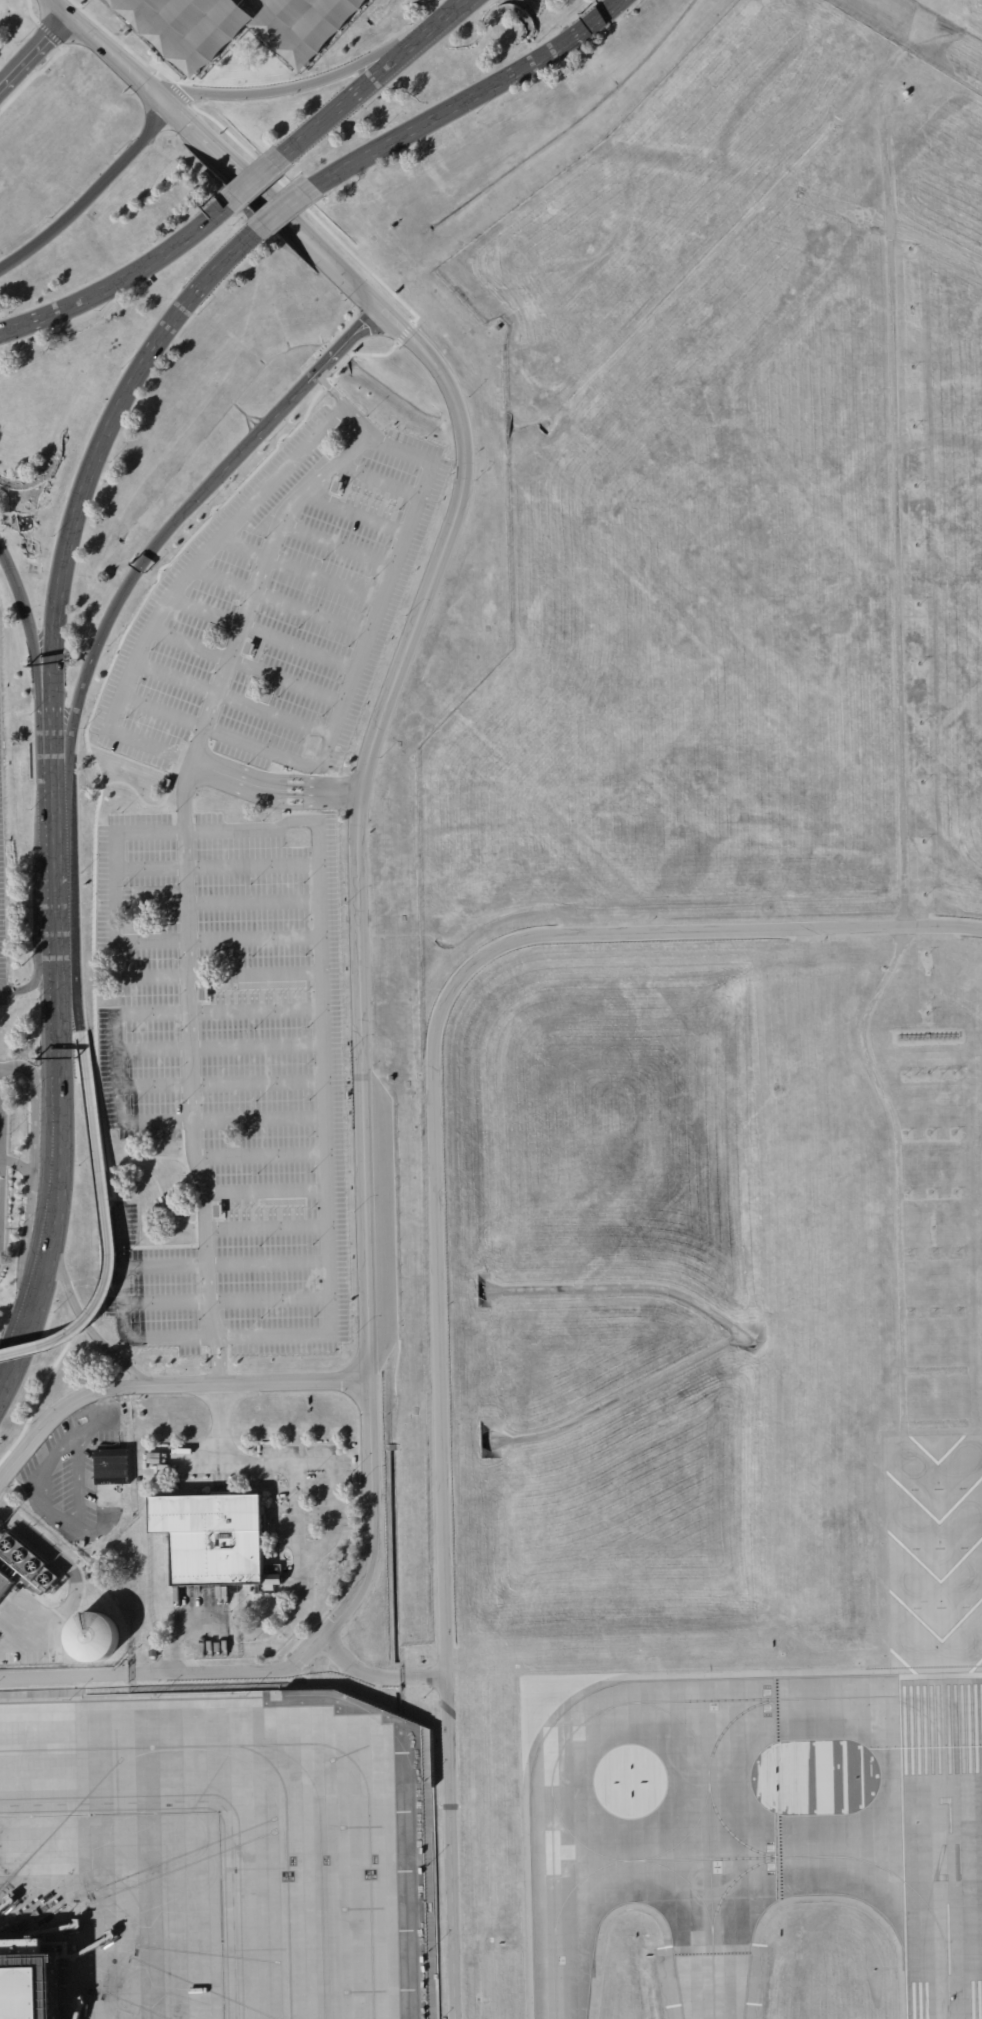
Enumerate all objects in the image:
road: (29, 12)
road: (449, 17)
parking lot: (237, 27)
building: (289, 28)
road: (49, 33)
road: (33, 51)
road: (108, 53)
road: (33, 74)
road: (302, 86)
road: (356, 94)
road: (469, 95)
road: (255, 180)
road: (90, 194)
road: (285, 206)
road: (274, 207)
road: (120, 281)
road: (348, 342)
road: (313, 379)
road: (330, 388)
road: (265, 427)
road: (100, 442)
road: (375, 480)
road: (351, 512)
road: (333, 546)
road: (297, 568)
road: (10, 574)
road: (180, 578)
road: (278, 599)
road: (258, 632)
road: (100, 640)
road: (35, 648)
road: (245, 663)
road: (348, 683)
road: (230, 699)
road: (51, 773)
road: (273, 787)
road: (357, 819)
road: (117, 832)
road: (182, 859)
road: (53, 860)
road: (214, 865)
parking lot: (2, 883)
road: (250, 901)
road: (55, 904)
road: (36, 973)
road: (156, 973)
road: (279, 973)
road: (75, 979)
airport: (491, 1009)
road: (57, 1021)
road: (219, 1045)
road: (117, 1065)
road: (22, 1066)
road: (220, 1082)
road: (0, 1129)
road: (257, 1156)
road: (18, 1164)
road: (54, 1173)
road: (30, 1182)
road: (263, 1191)
road: (105, 1225)
road: (265, 1226)
road: (432, 1227)
road: (222, 1261)
road: (36, 1283)
road: (223, 1298)
road: (328, 1303)
road: (82, 1320)
road: (10, 1339)
road: (13, 1362)
road: (165, 1383)
road: (219, 1418)
road: (96, 1435)
building: (111, 1476)
road: (294, 1506)
building: (112, 1516)
building: (214, 1540)
road: (311, 1548)
building: (21, 1559)
road: (60, 1559)
building: (5, 1583)
building: (259, 1595)
building: (93, 1638)
storage tank: (93, 1638)
building: (153, 1650)
road: (301, 1658)
road: (357, 1666)
road: (419, 1674)
airport taxiway: (918, 1695)
airport taxiway: (961, 1695)
airport taxiway: (800, 1697)
airport taxiway: (728, 1722)
airport taxiway: (576, 1724)
airport taxiway: (125, 1749)
building: (381, 1753)
road: (222, 1801)
airport taxiway: (730, 1832)
airport taxiway: (373, 1834)
airport taxiway: (681, 1837)
airport runway: (944, 1848)
airport apron: (221, 1855)
airport taxiway: (843, 1856)
airport taxiway: (708, 1859)
airport taxiway: (578, 1881)
airport taxiway: (685, 1881)
airport taxiway: (731, 1881)
airport taxiway: (553, 1902)
airport terminal: (23, 1984)
building: (23, 1984)

